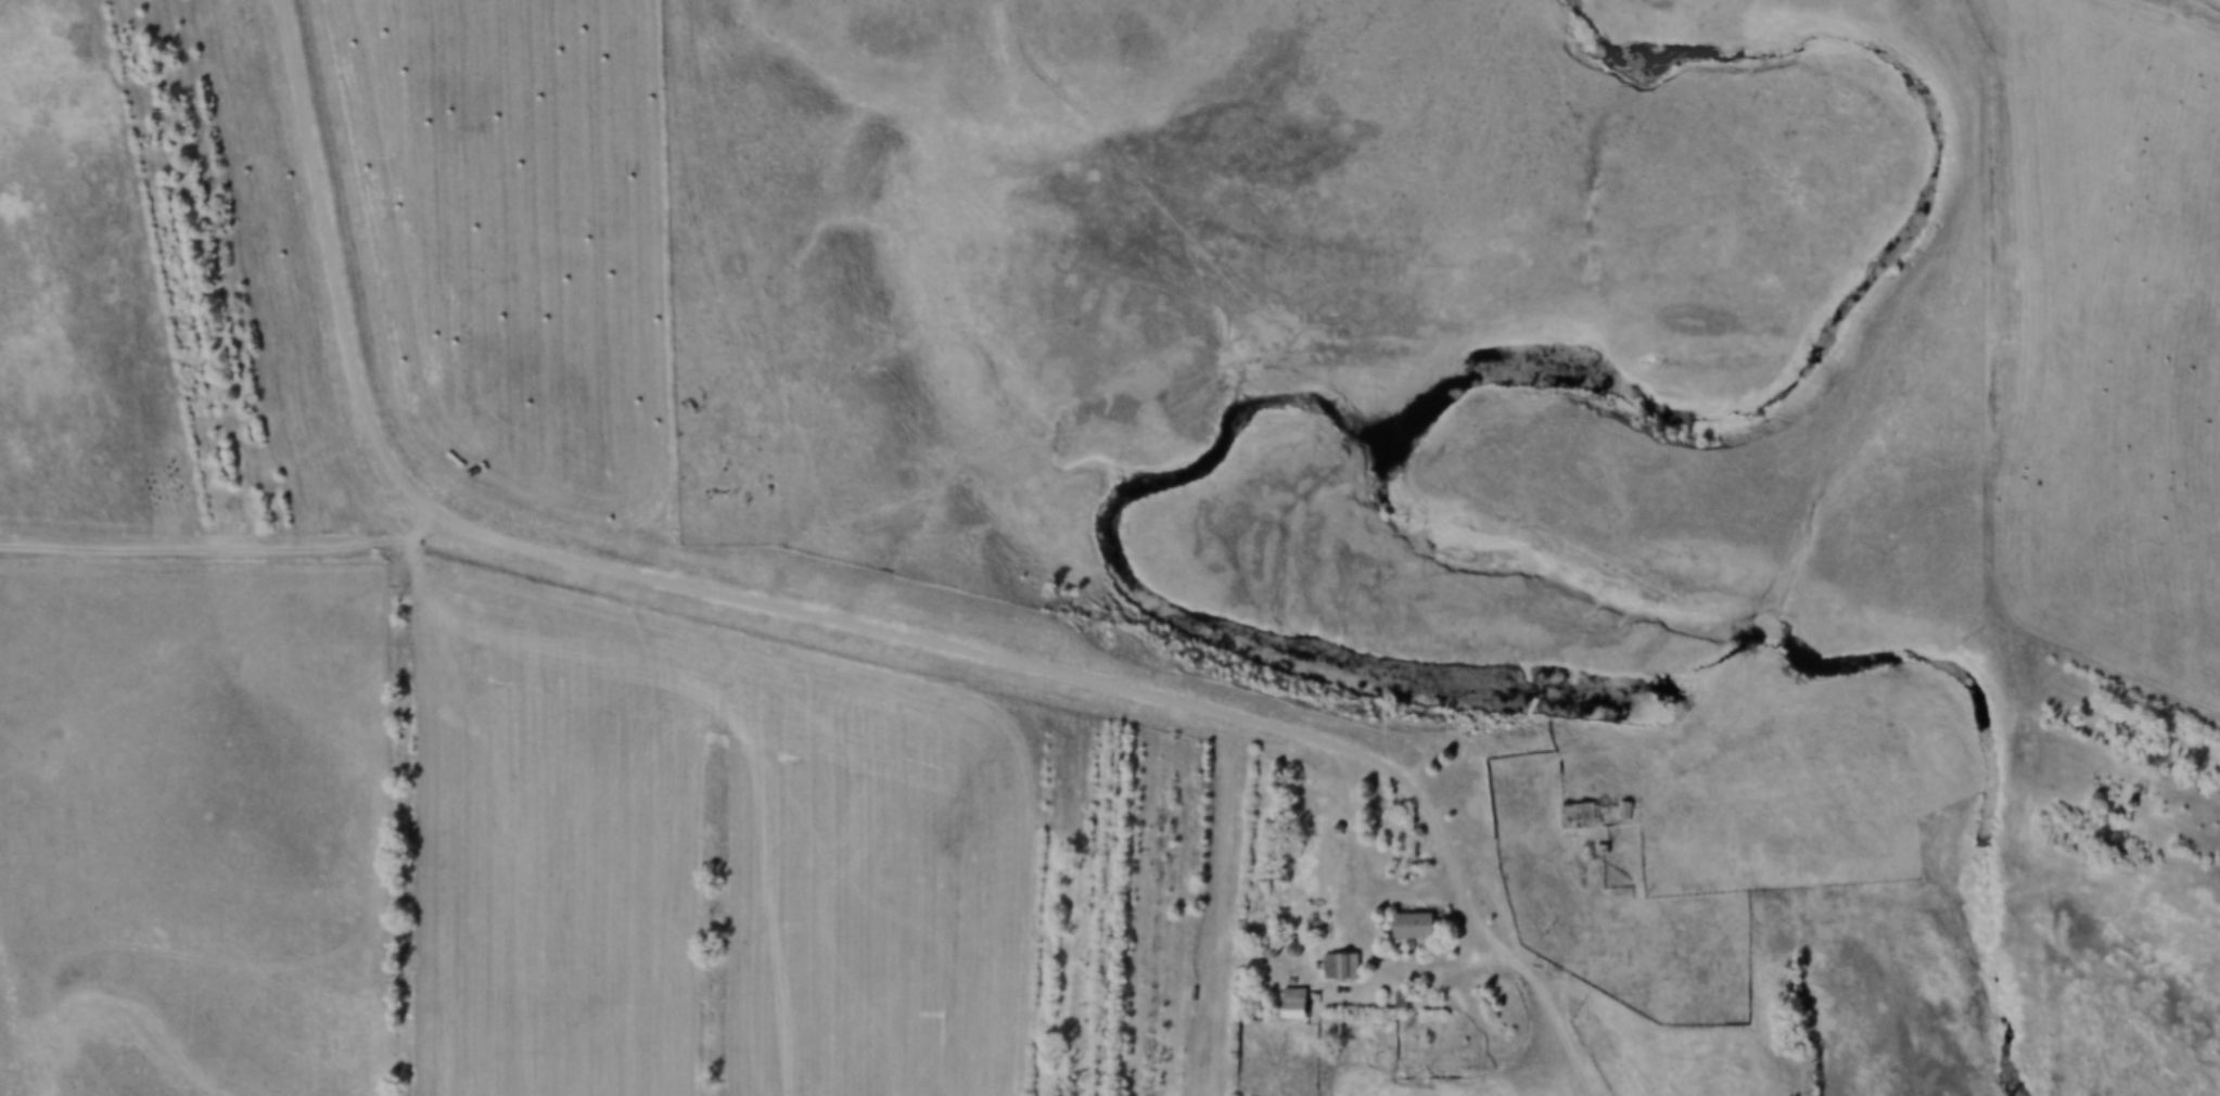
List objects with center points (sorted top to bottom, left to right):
road: (226, 550)
road: (751, 596)
building: (1583, 813)
road: (1416, 889)
road: (1236, 904)
road: (1366, 907)
building: (1411, 926)
building: (1339, 966)
building: (1291, 1004)
road: (1551, 1010)
road: (1501, 1028)

